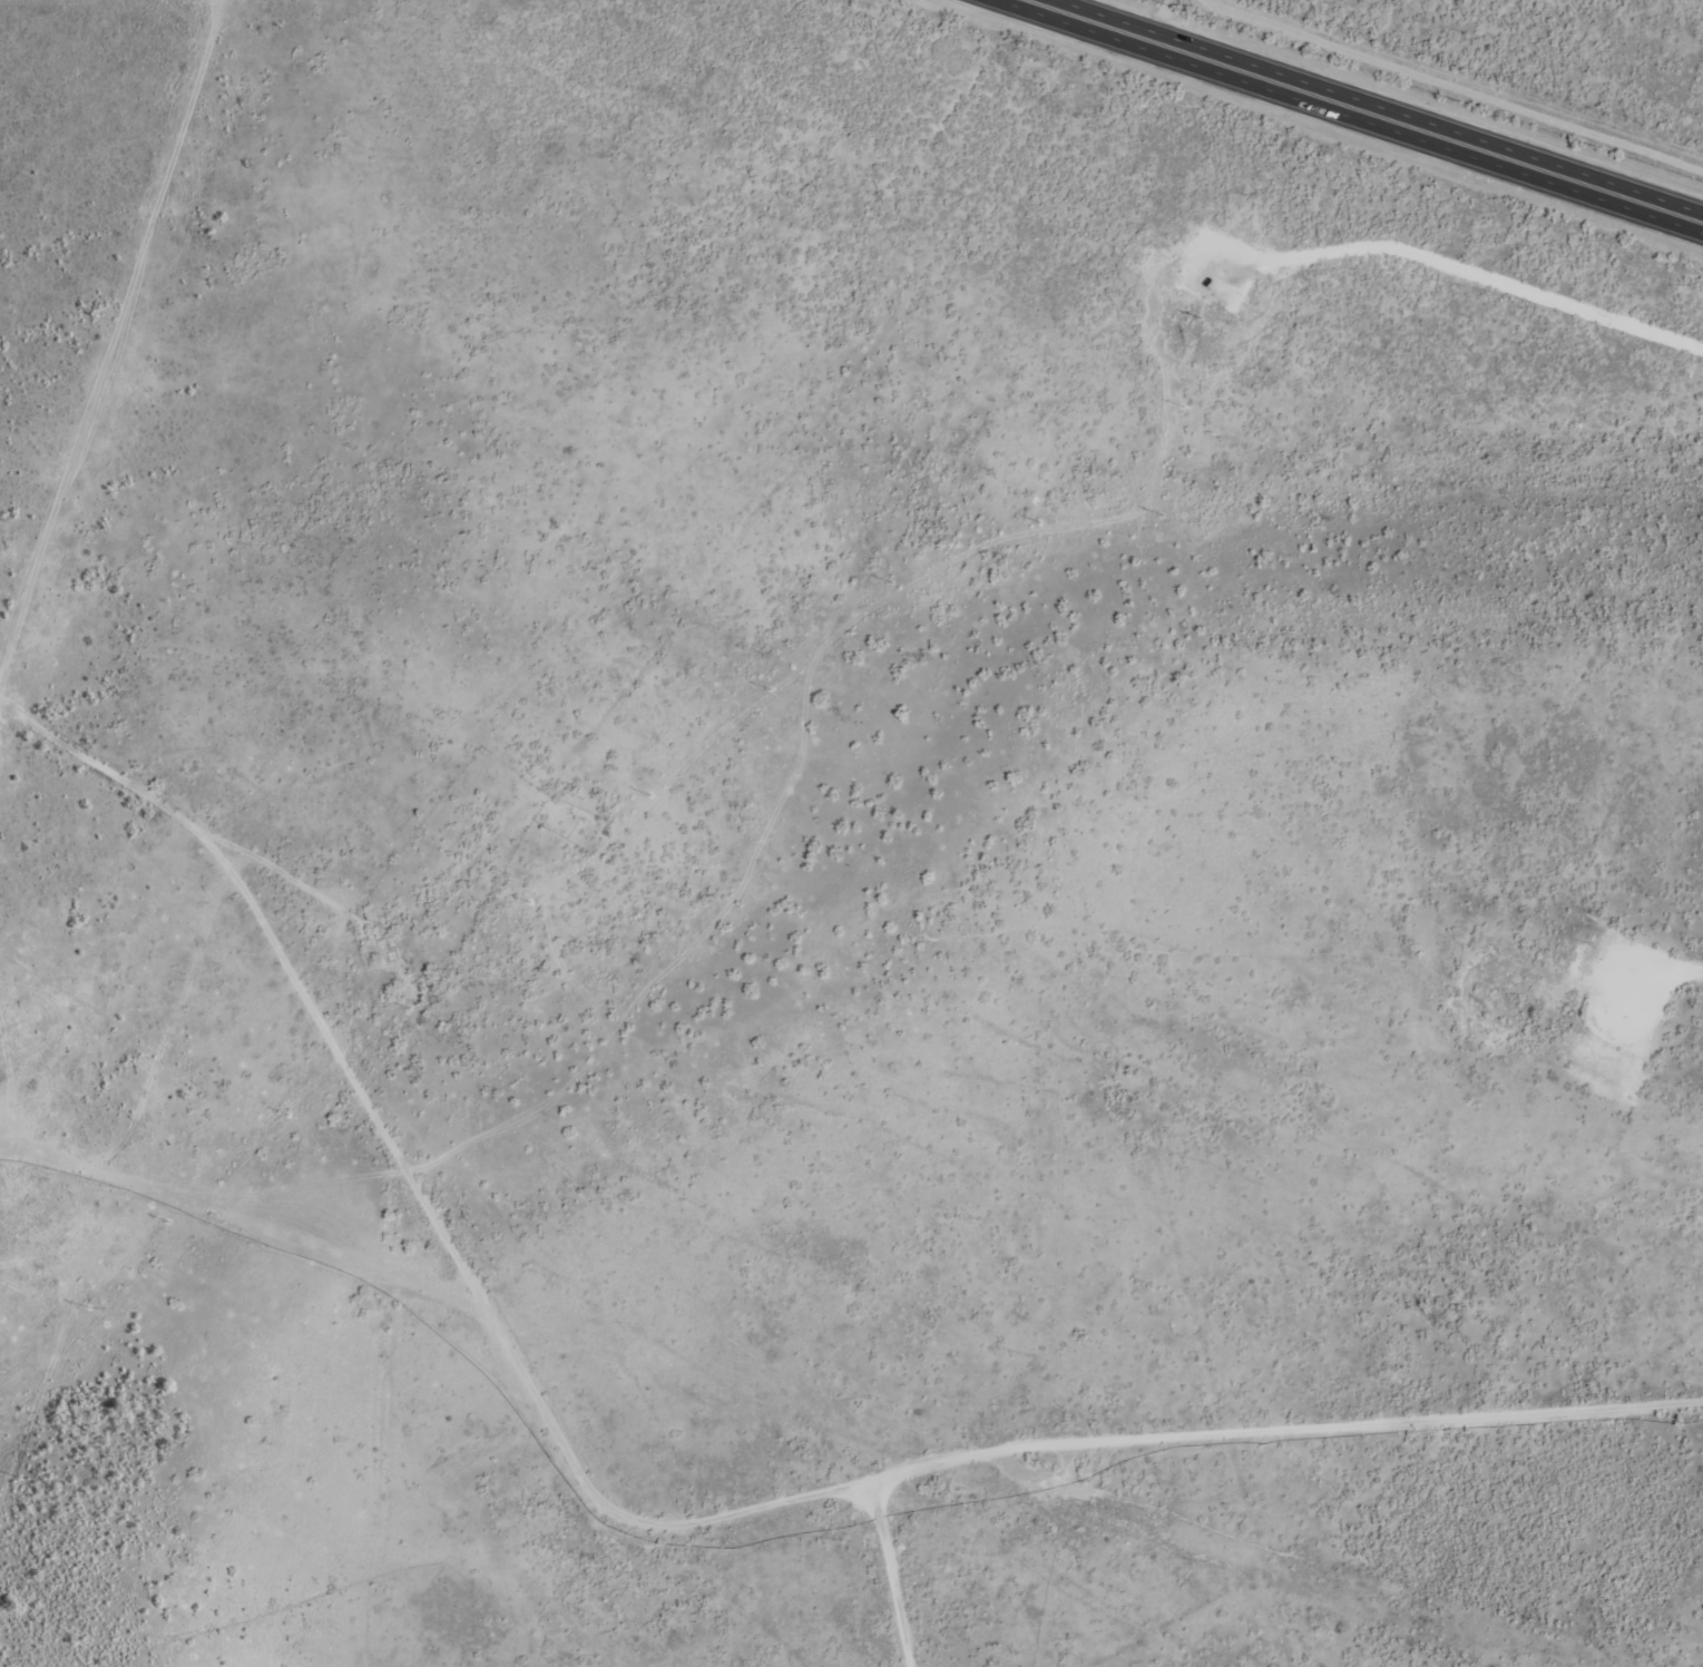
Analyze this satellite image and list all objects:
road: (1360, 111)
road: (619, 814)

